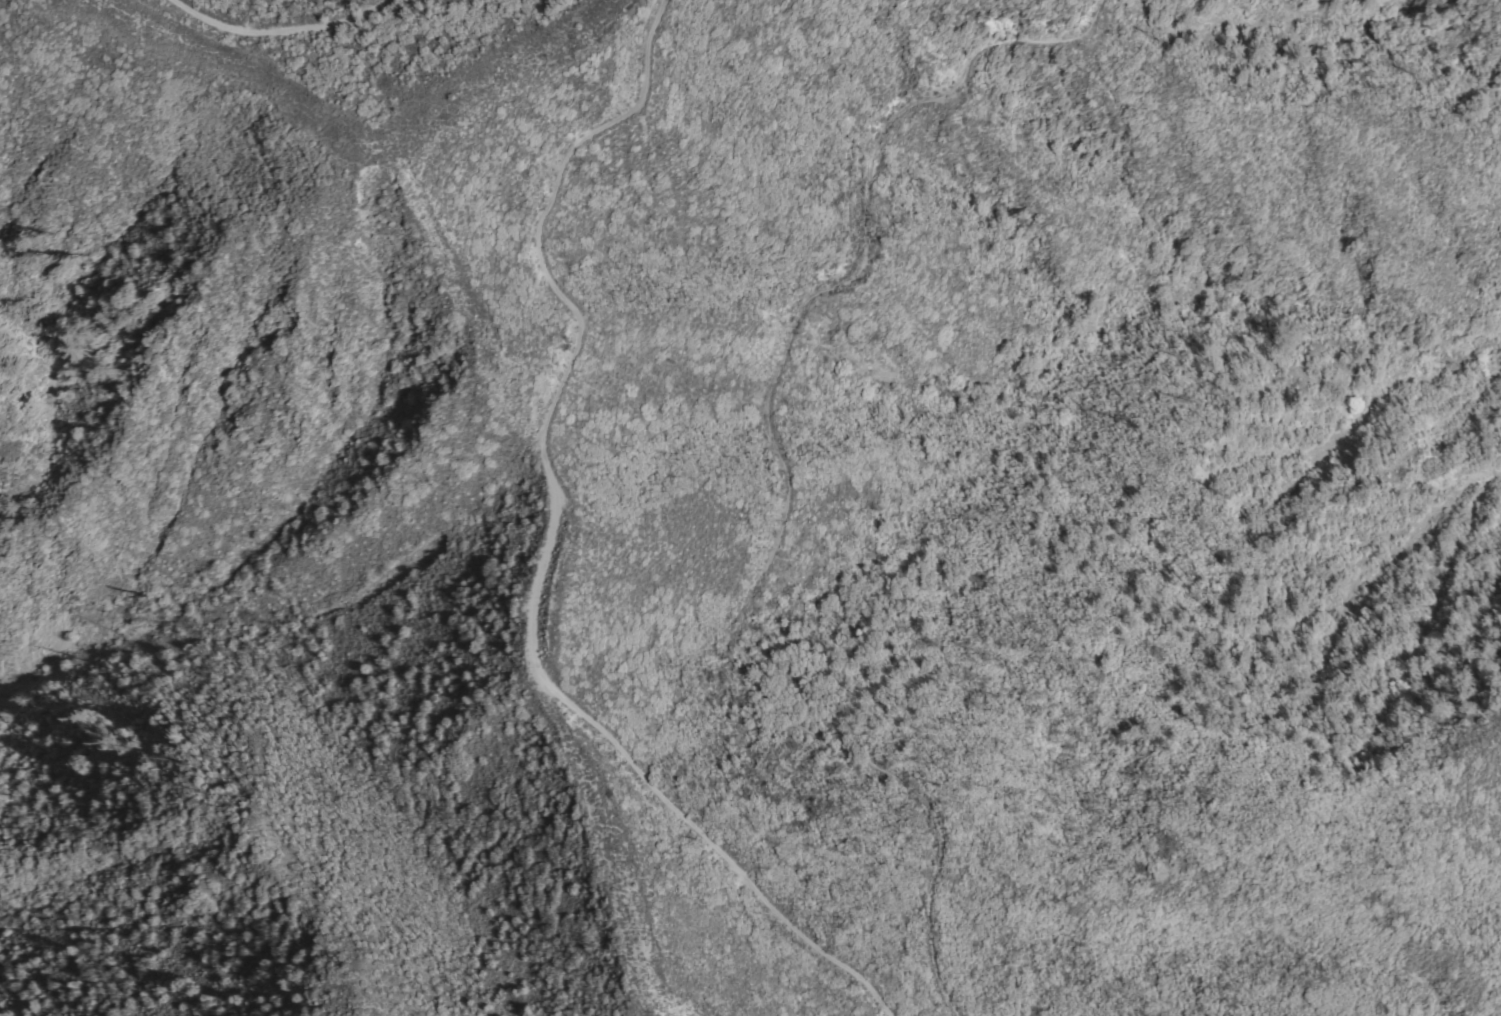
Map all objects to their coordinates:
road: (348, 19)
road: (240, 26)
road: (782, 468)
road: (543, 552)

